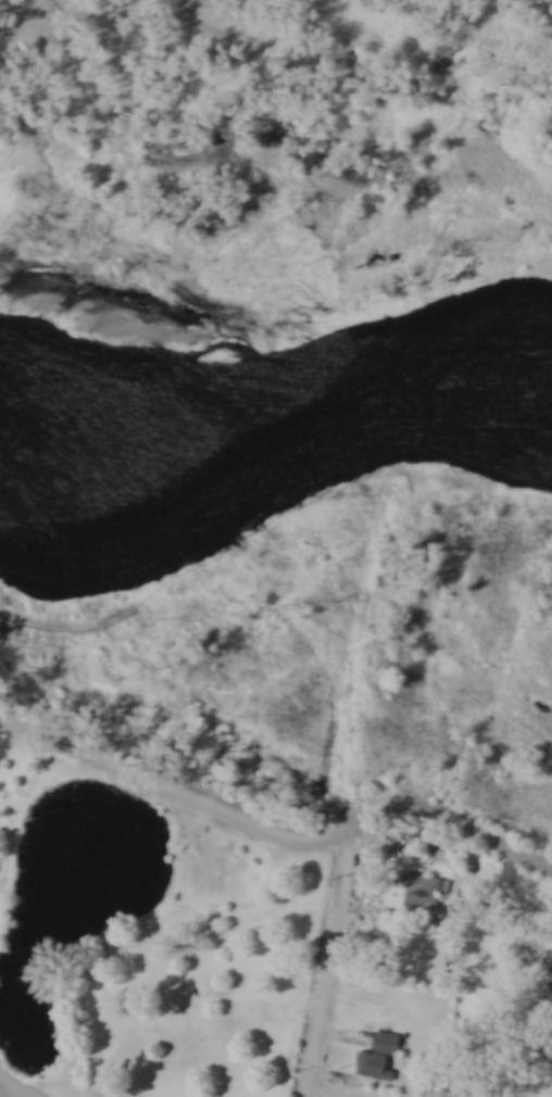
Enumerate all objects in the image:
river: (275, 409)
road: (364, 629)
building: (422, 894)
park: (146, 929)
road: (329, 963)
building: (379, 1059)

